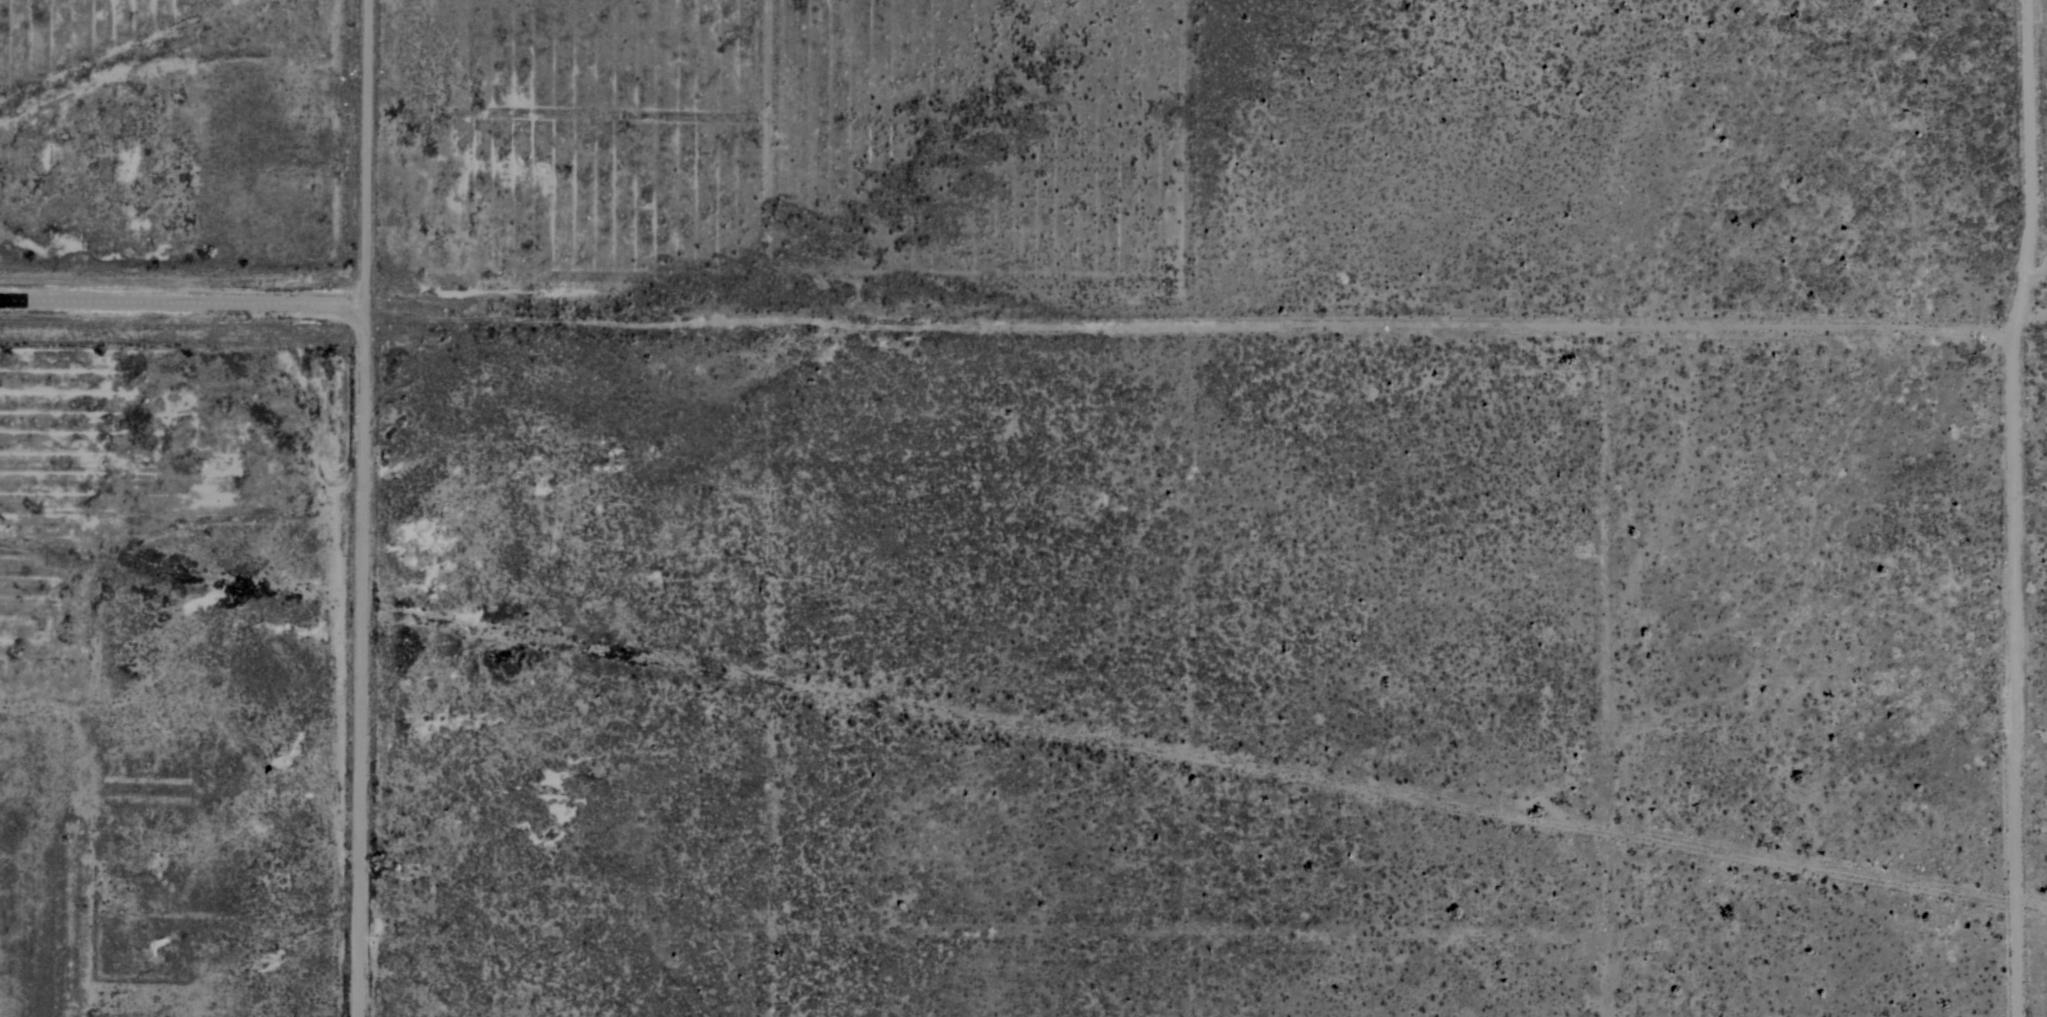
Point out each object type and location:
road: (370, 151)
road: (184, 301)
road: (2031, 320)
road: (1192, 325)
road: (2018, 507)
road: (366, 659)
road: (1404, 790)

